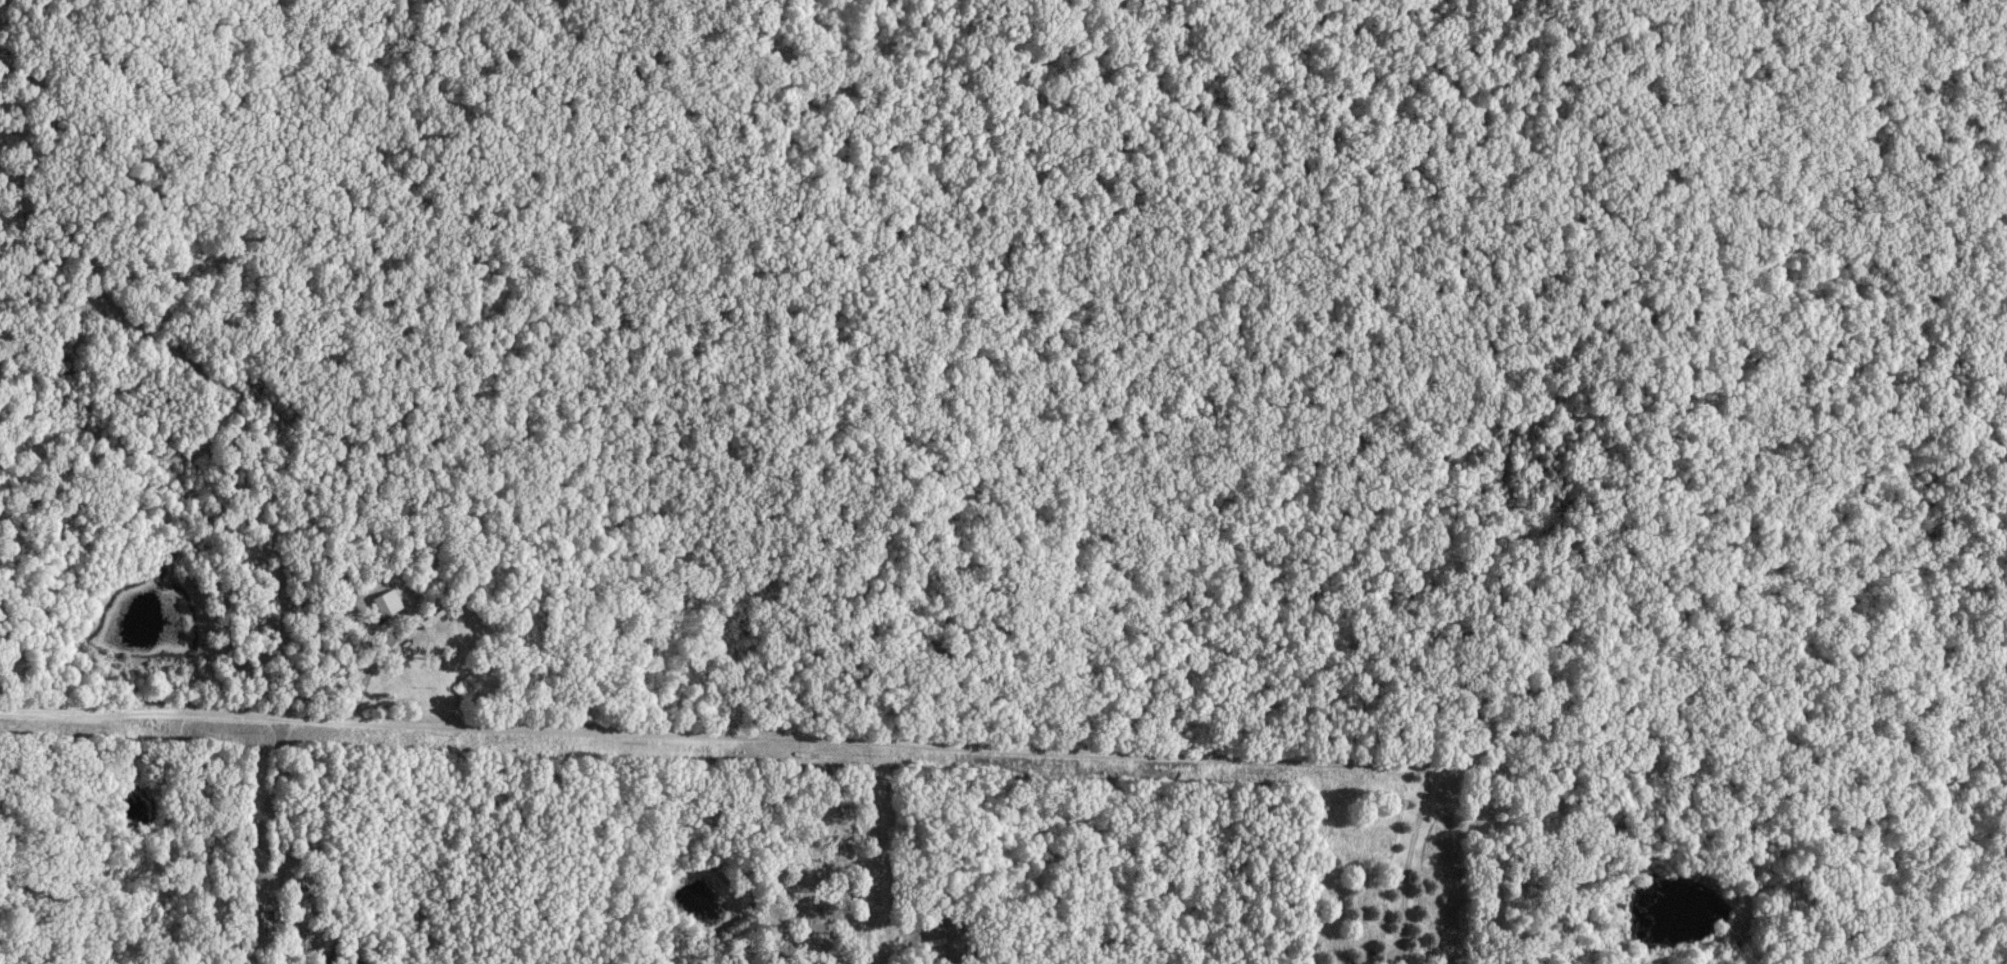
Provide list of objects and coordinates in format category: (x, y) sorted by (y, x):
building: (385, 605)
road: (810, 738)
building: (300, 852)
road: (877, 852)
building: (277, 920)

